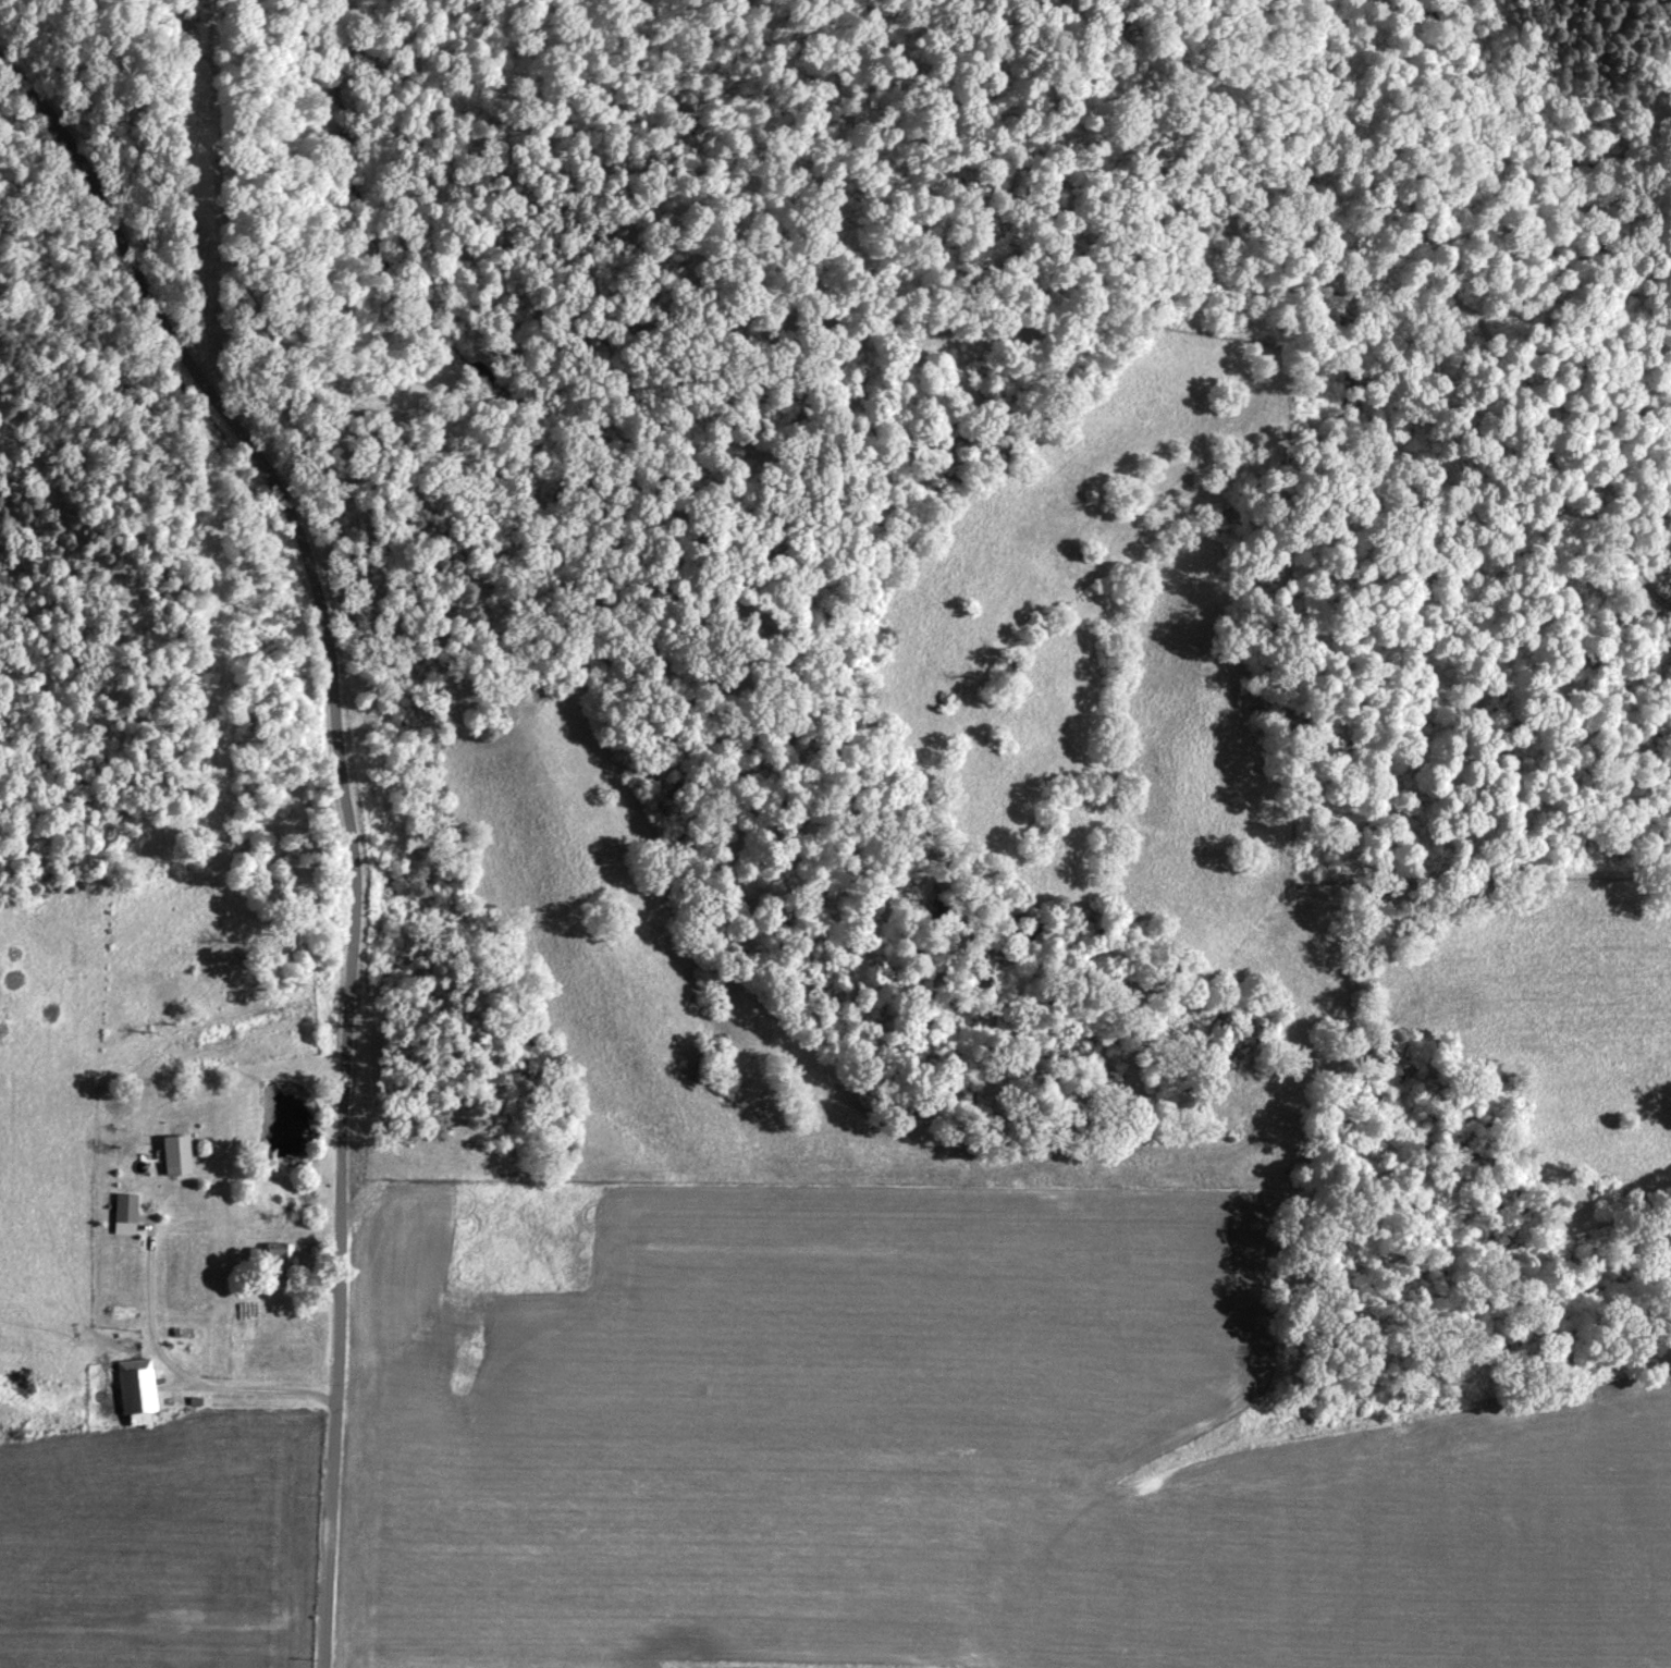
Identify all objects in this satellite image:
road: (345, 820)
building: (170, 1161)
building: (120, 1221)
road: (173, 1372)
building: (131, 1398)

